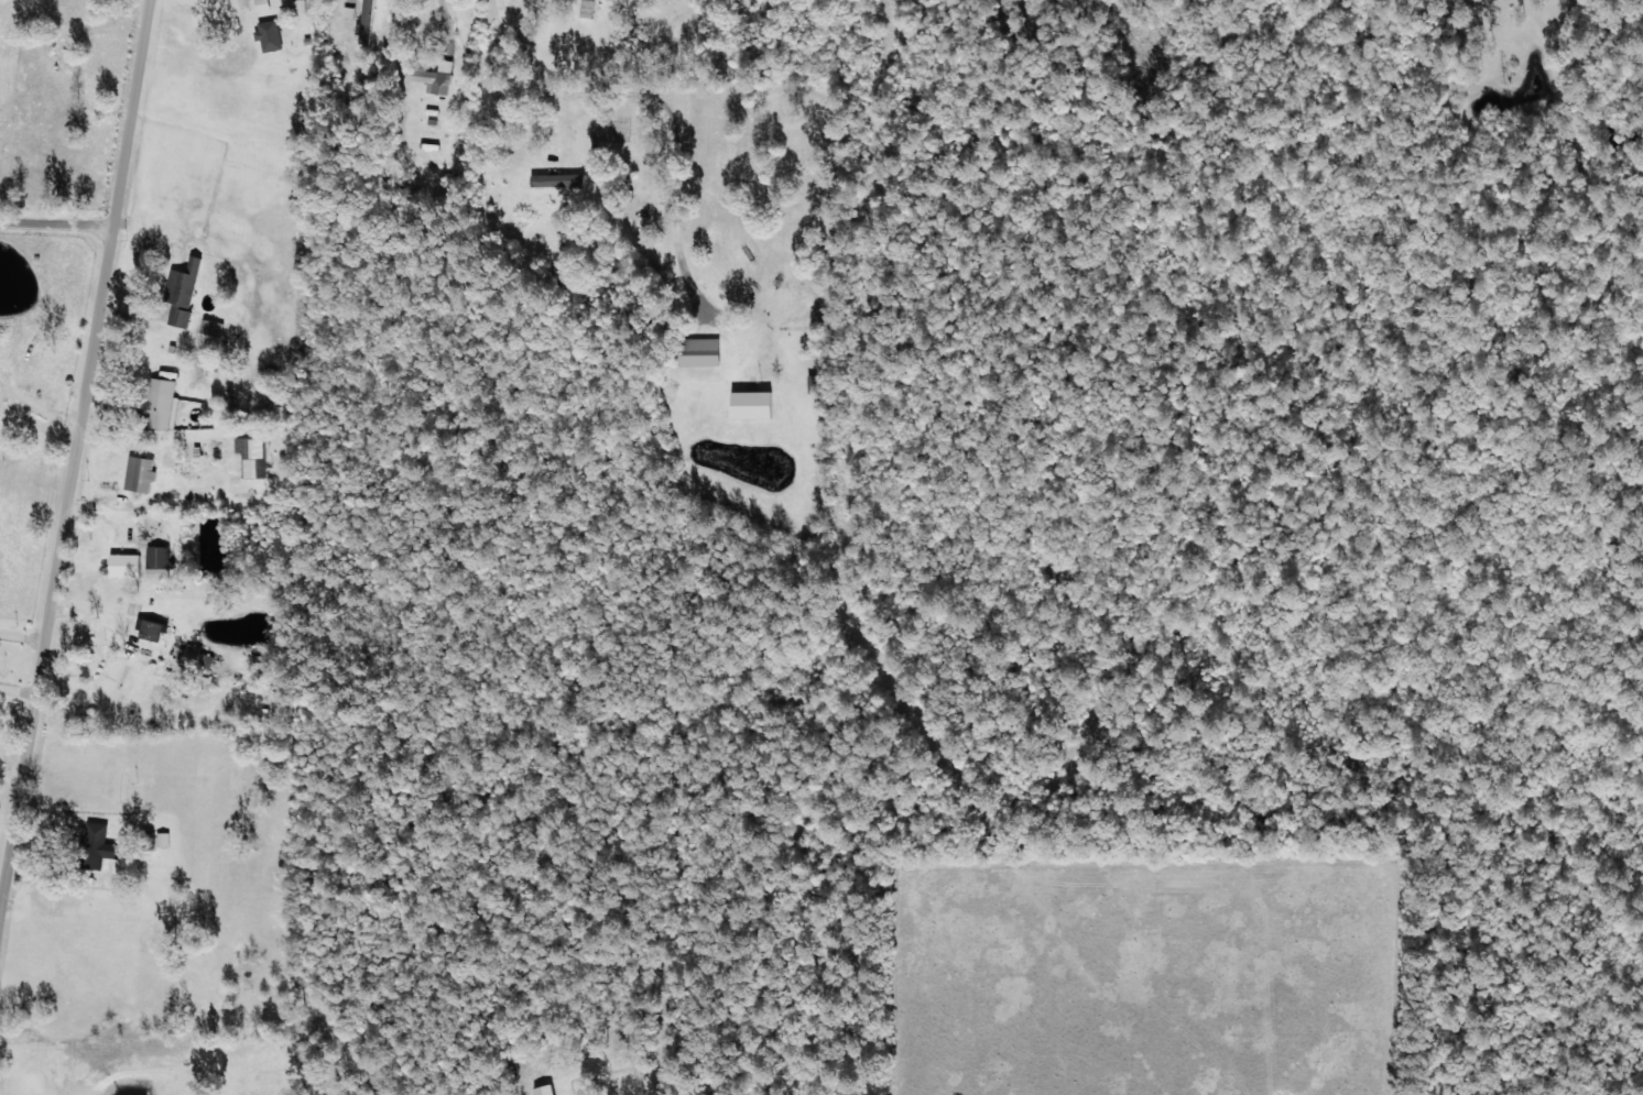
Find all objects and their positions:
building: (260, 4)
building: (585, 8)
building: (268, 35)
building: (431, 75)
building: (555, 179)
road: (56, 244)
building: (181, 292)
building: (209, 327)
building: (697, 352)
building: (159, 402)
building: (749, 404)
building: (248, 456)
building: (138, 473)
road: (83, 534)
building: (155, 562)
building: (122, 565)
building: (149, 628)
building: (194, 656)
building: (154, 690)
building: (540, 1089)

